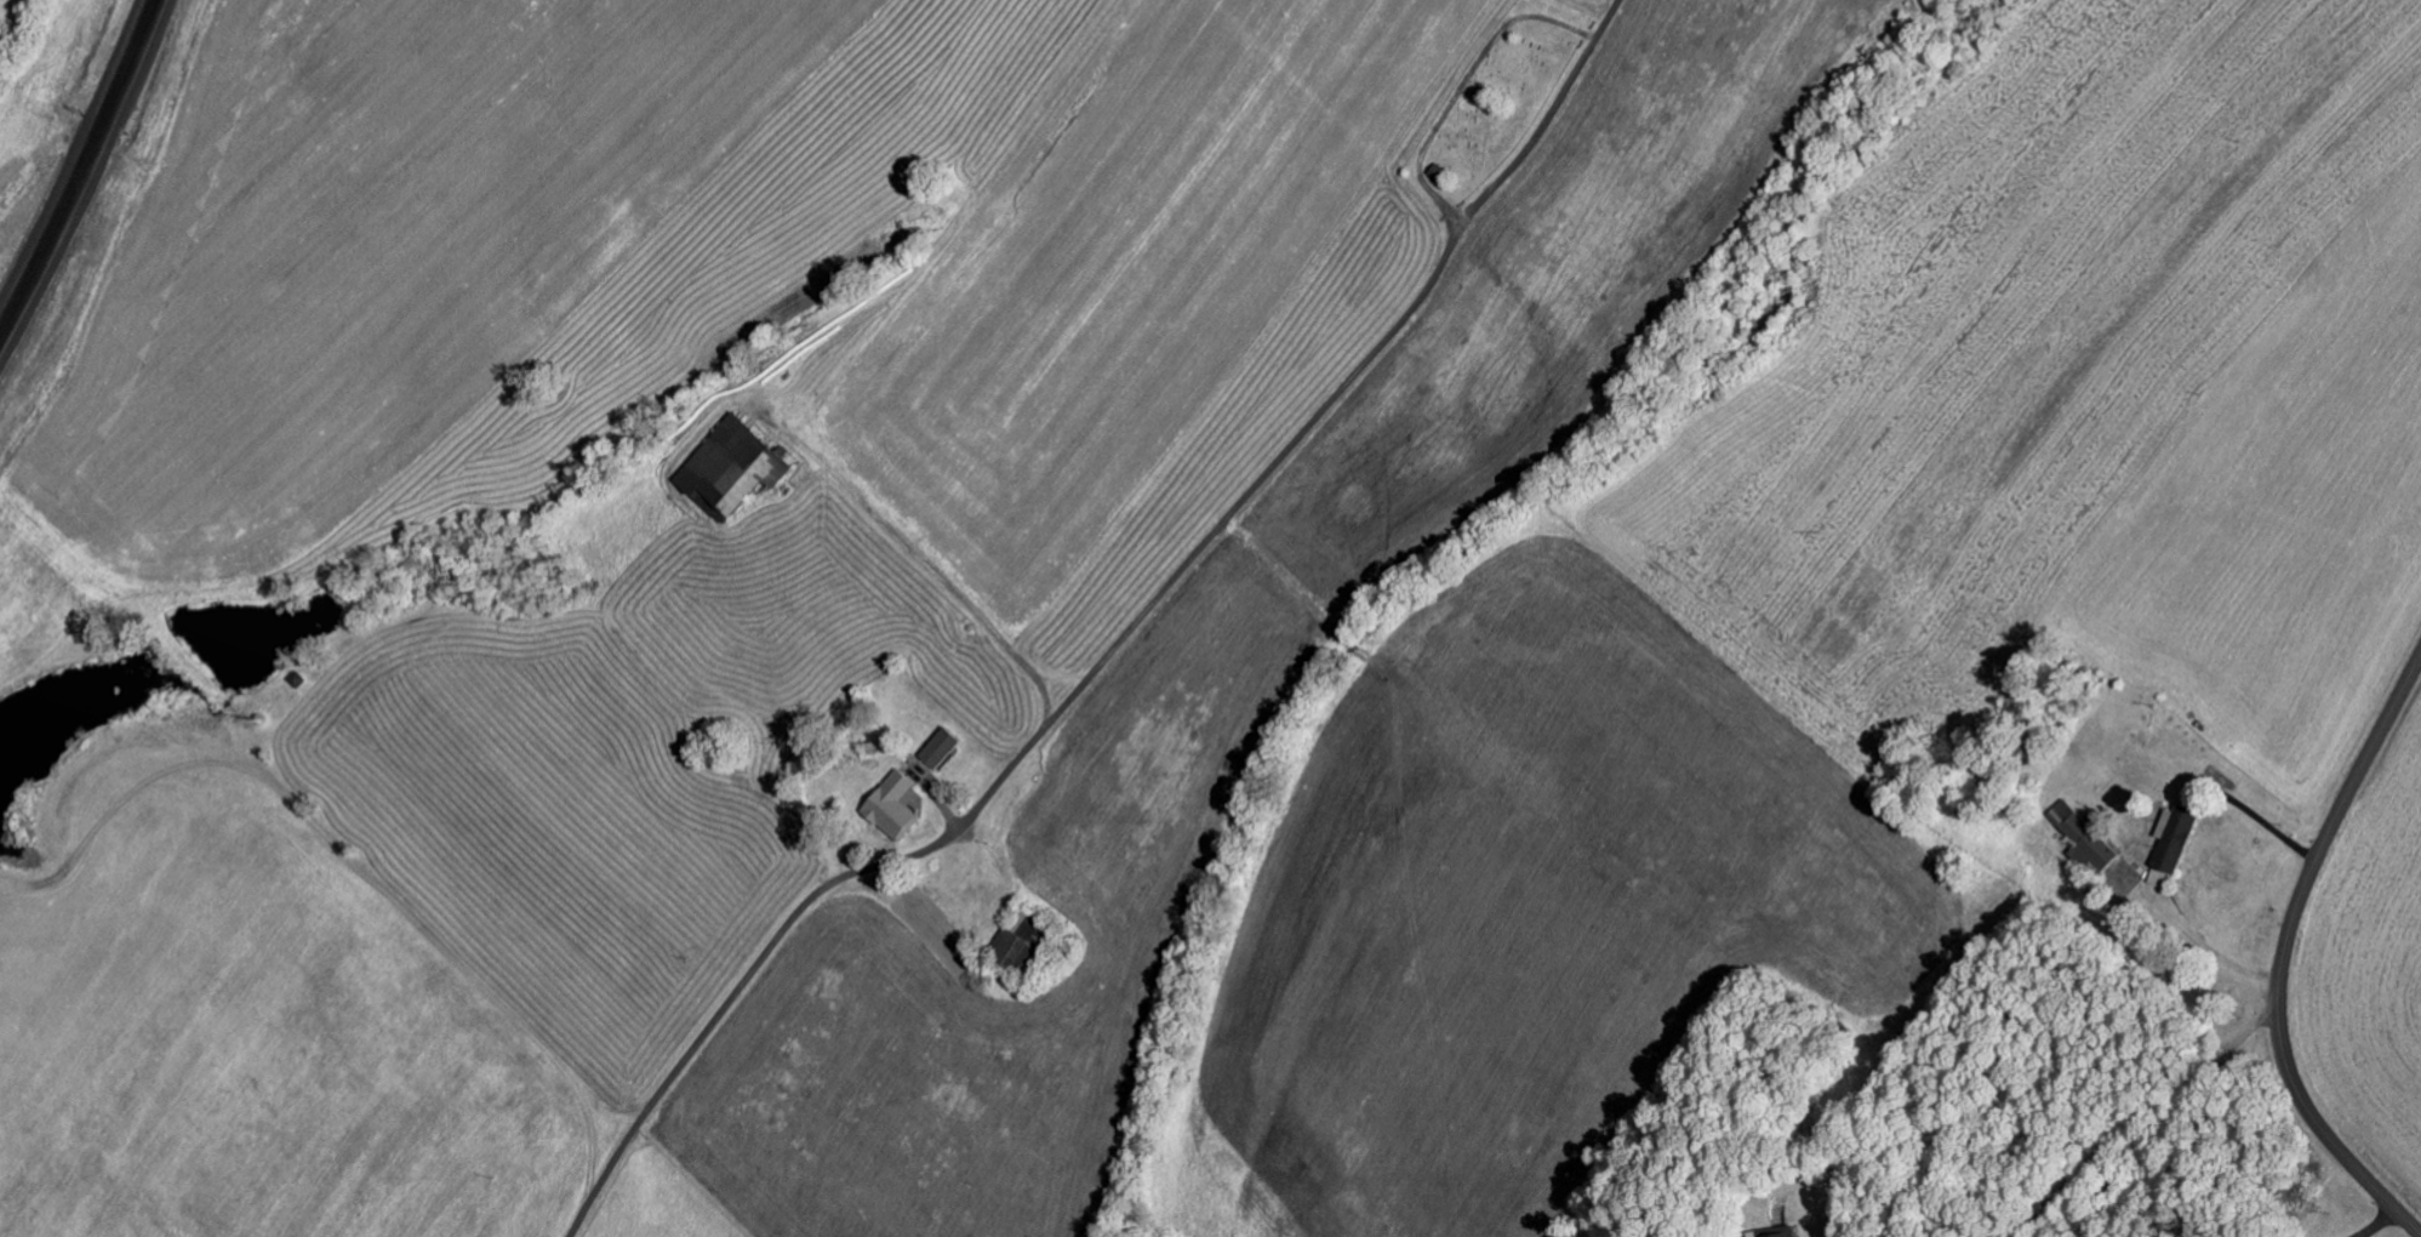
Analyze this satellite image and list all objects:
park: (1494, 101)
road: (78, 159)
building: (723, 471)
road: (1113, 646)
building: (932, 752)
building: (885, 809)
building: (2078, 842)
building: (2165, 845)
road: (1646, 953)
road: (2283, 953)
building: (1005, 956)
road: (1938, 1025)
building: (1772, 1233)

